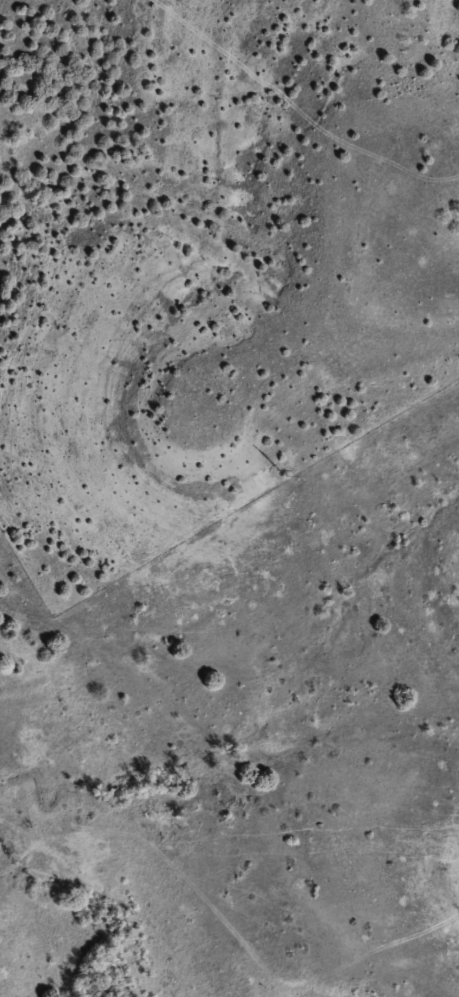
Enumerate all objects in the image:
power tower: (281, 470)

